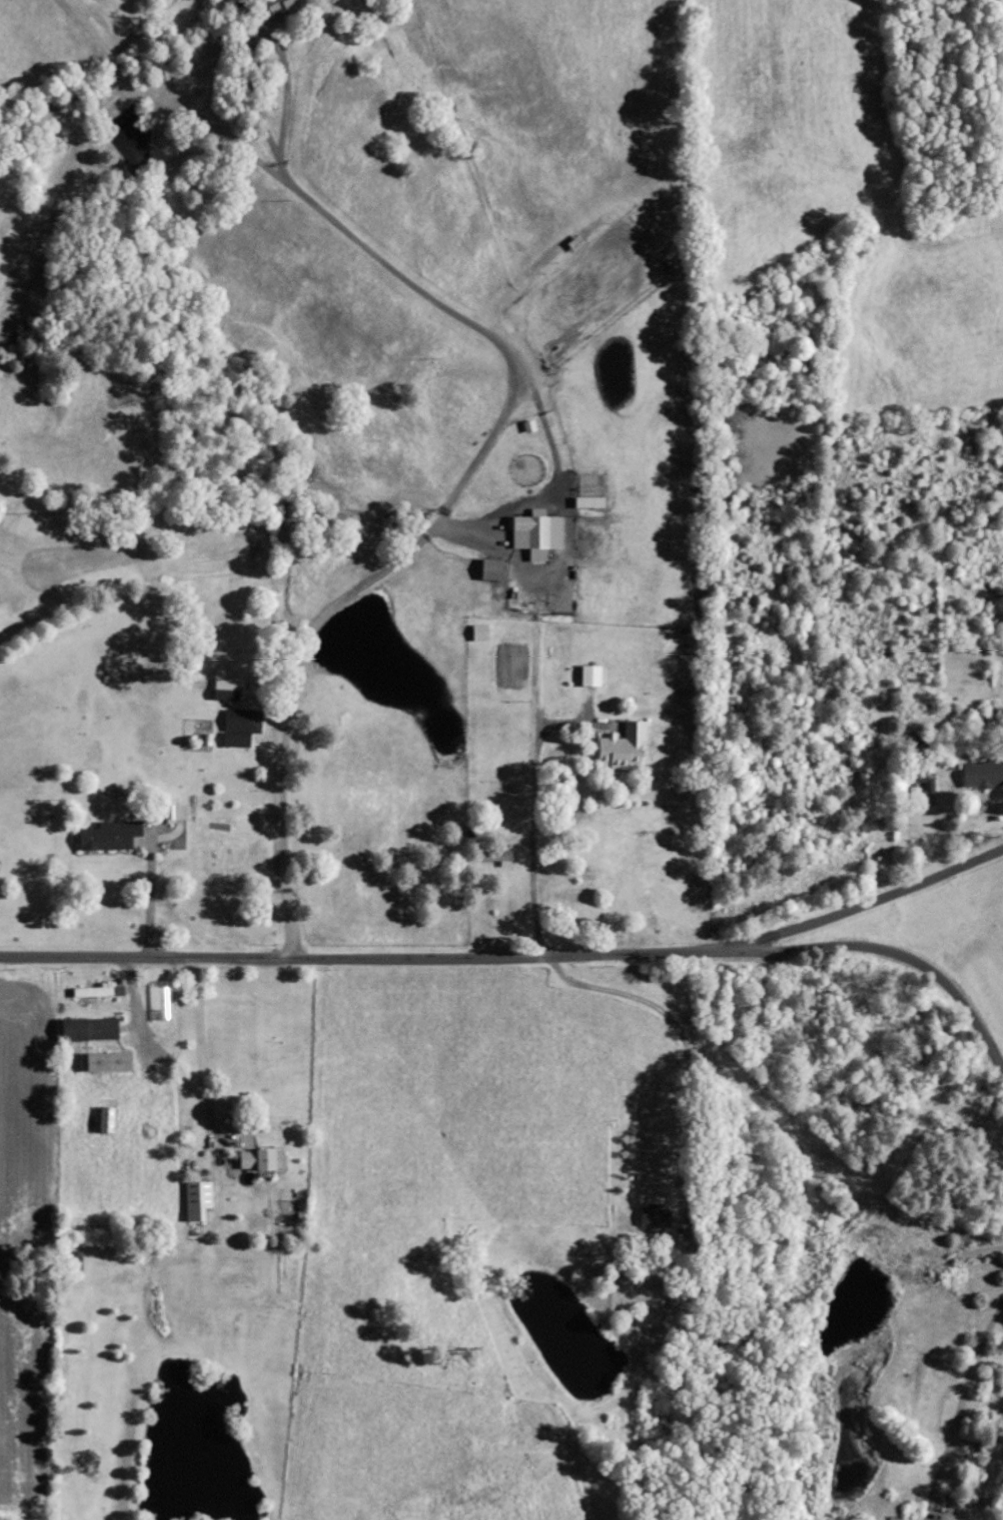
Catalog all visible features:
building: (291, 5)
building: (541, 534)
building: (501, 571)
building: (484, 634)
building: (589, 677)
building: (232, 691)
building: (243, 729)
building: (620, 748)
building: (981, 775)
building: (923, 783)
building: (115, 836)
building: (494, 857)
road: (856, 909)
road: (529, 956)
building: (91, 993)
building: (162, 1002)
building: (93, 1030)
building: (116, 1063)
building: (267, 1160)
building: (201, 1202)
building: (653, 1217)
road: (978, 1270)

